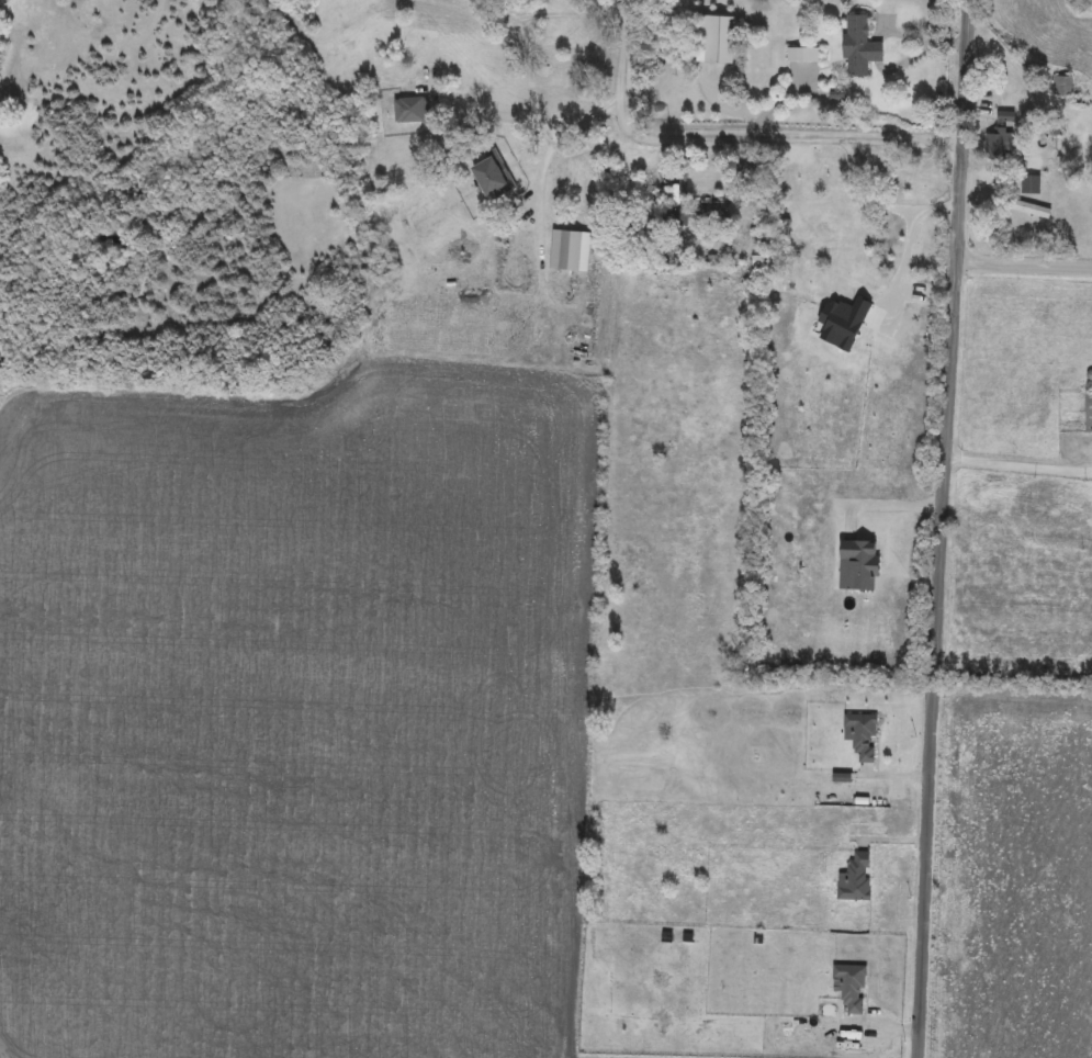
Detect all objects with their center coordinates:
building: (714, 38)
building: (859, 47)
building: (802, 56)
building: (1061, 87)
building: (448, 100)
building: (567, 112)
road: (529, 124)
building: (998, 138)
road: (732, 140)
building: (820, 180)
road: (536, 195)
road: (873, 210)
building: (711, 211)
building: (677, 218)
road: (904, 264)
road: (1023, 264)
building: (1089, 404)
road: (1020, 466)
road: (893, 510)
road: (943, 528)
building: (862, 736)
building: (855, 879)
building: (851, 987)

